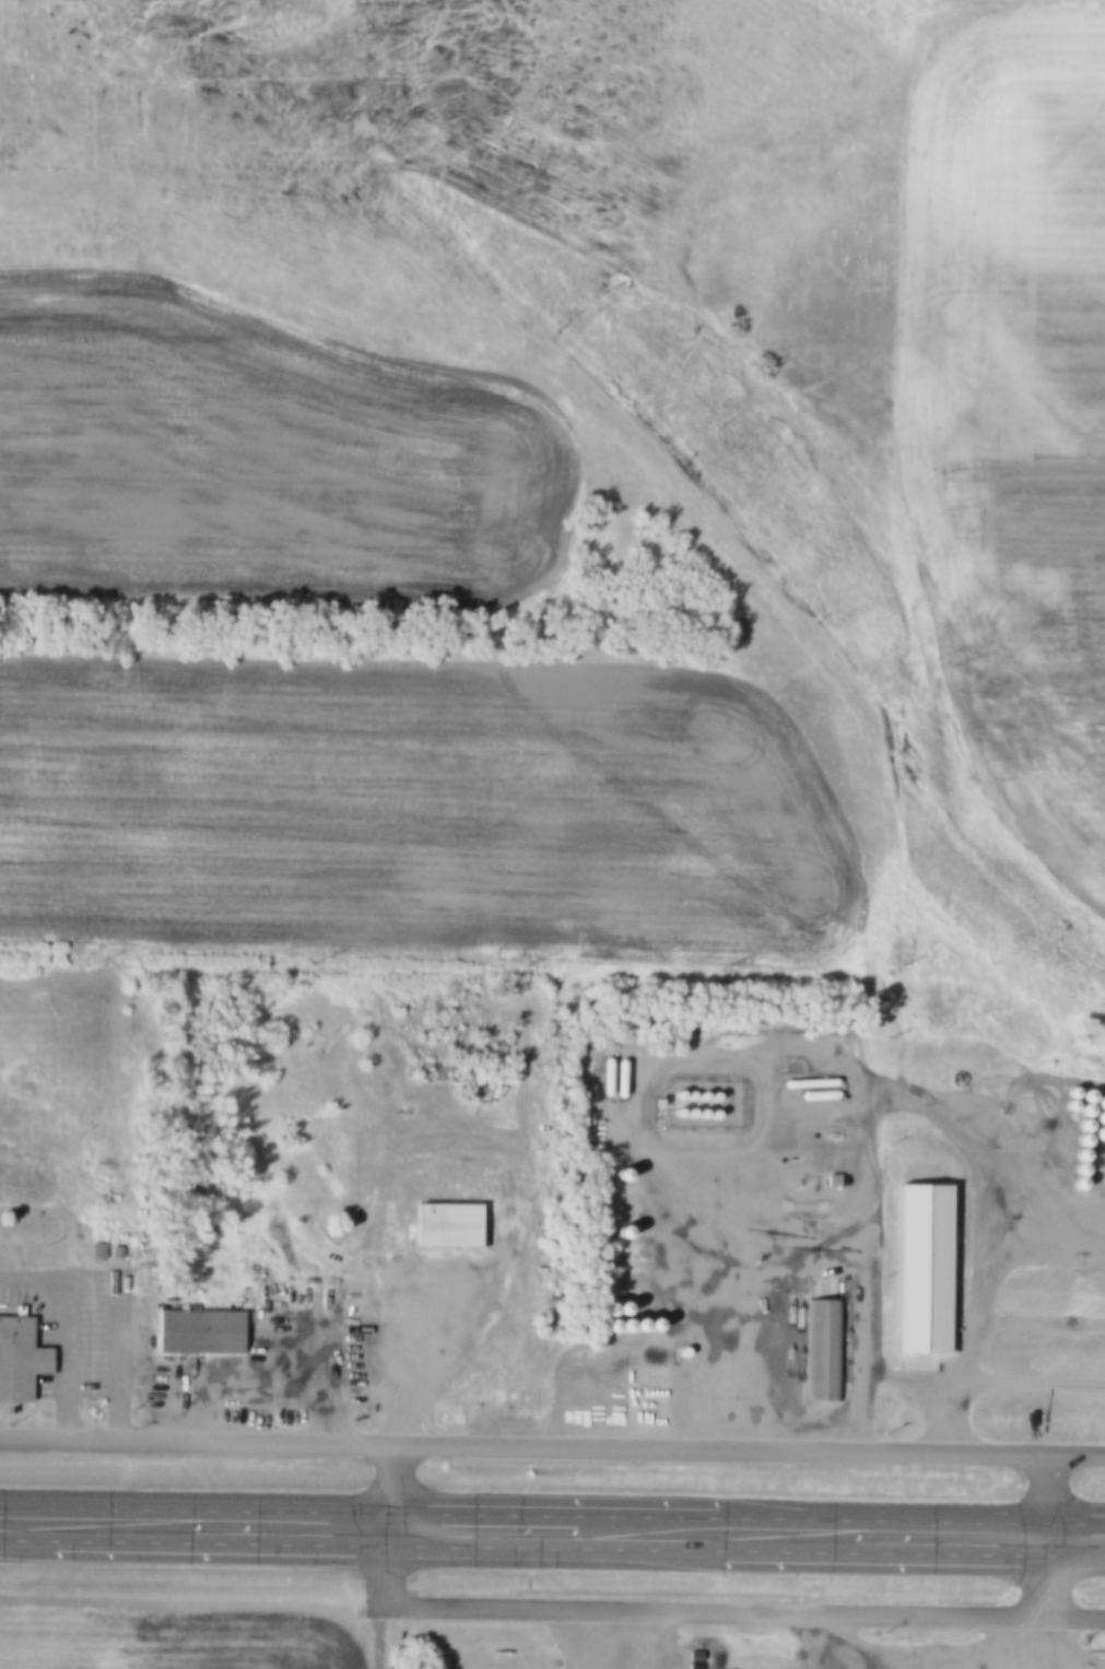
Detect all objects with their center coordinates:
storage tank: (603, 1077)
storage tank: (618, 1079)
storage tank: (808, 1082)
storage tank: (675, 1094)
storage tank: (689, 1095)
storage tank: (816, 1095)
storage tank: (700, 1096)
storage tank: (712, 1096)
building: (651, 1103)
storage tank: (675, 1112)
storage tank: (687, 1113)
storage tank: (700, 1114)
storage tank: (712, 1114)
building: (830, 1179)
road: (801, 1206)
building: (446, 1219)
building: (920, 1260)
road: (980, 1272)
road: (751, 1313)
building: (197, 1325)
building: (820, 1344)
building: (17, 1359)
road: (552, 1444)
road: (552, 1516)
road: (1051, 1535)
road: (552, 1551)
road: (674, 1607)
road: (577, 1637)
road: (659, 1637)
road: (813, 1638)

